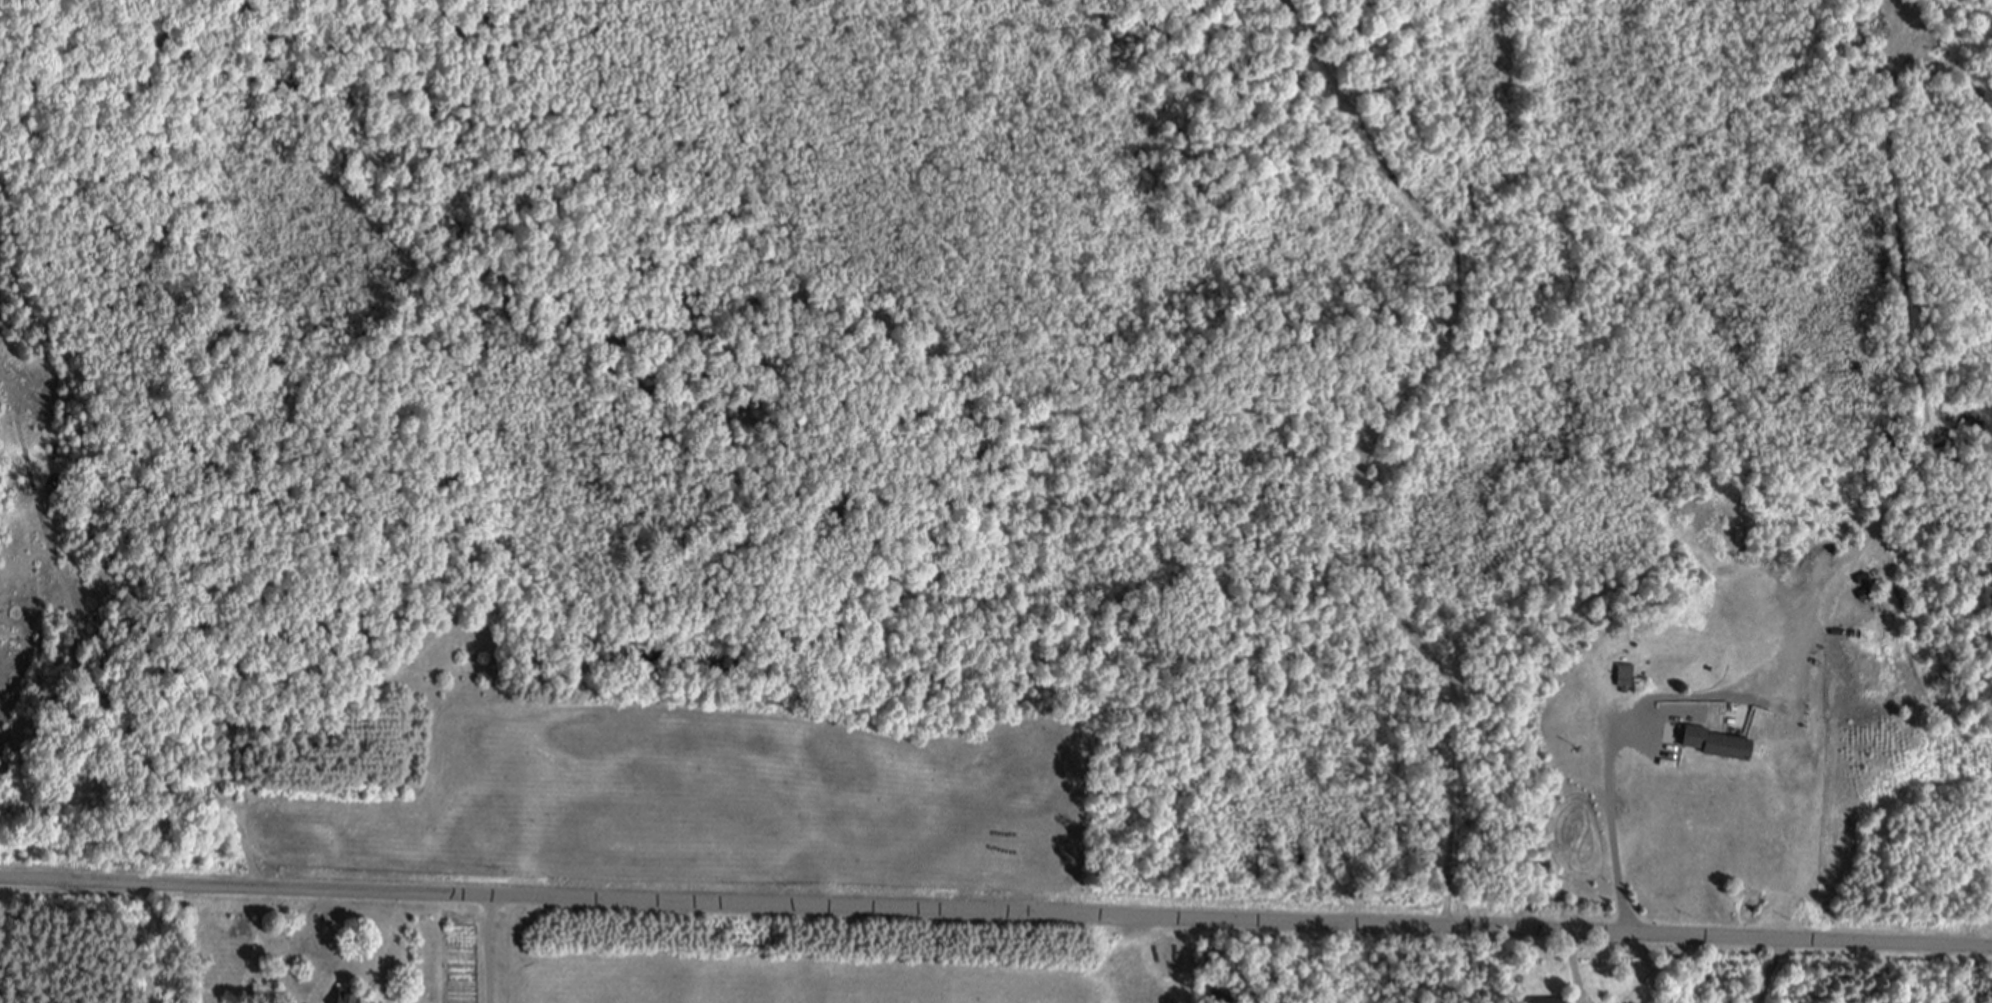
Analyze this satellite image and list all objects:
building: (1628, 674)
building: (1723, 741)
road: (1612, 833)
road: (996, 911)
road: (487, 948)
road: (1573, 968)
road: (1774, 971)
building: (1544, 1000)

